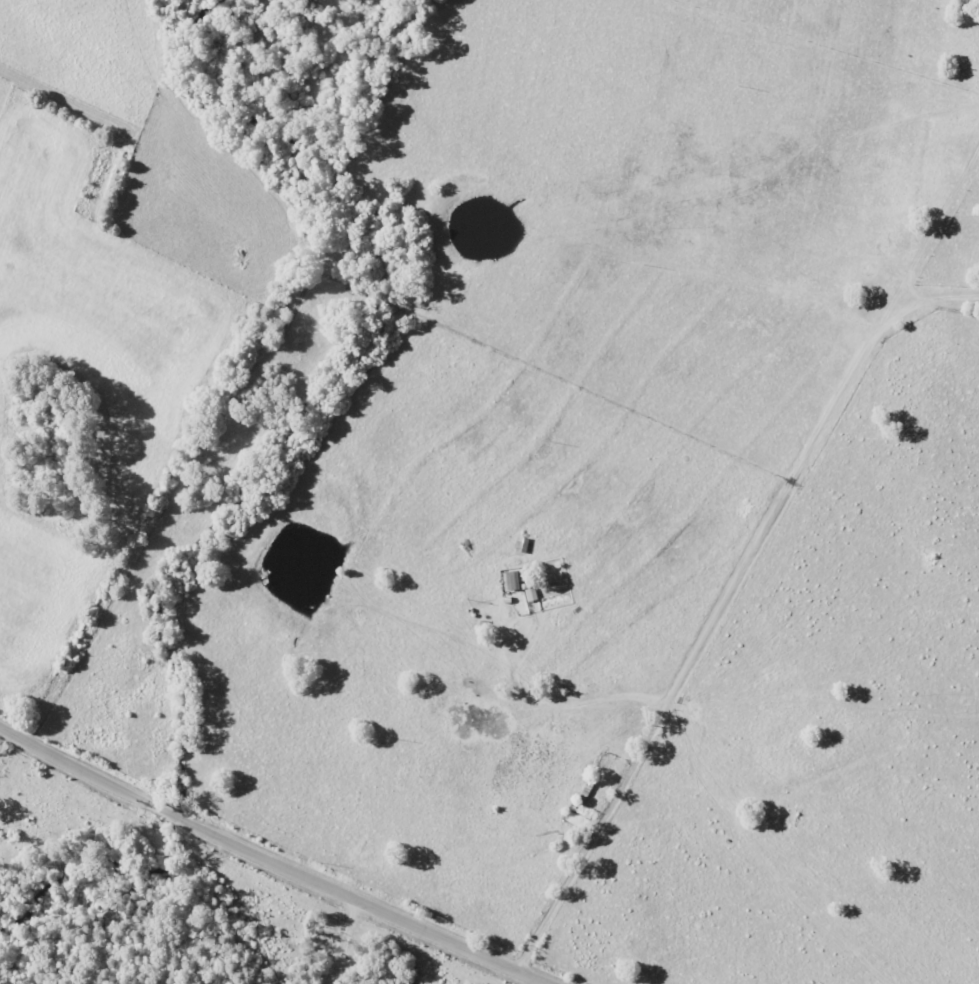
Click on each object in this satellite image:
building: (514, 580)
building: (532, 594)
road: (721, 600)
road: (271, 858)
road: (339, 941)

